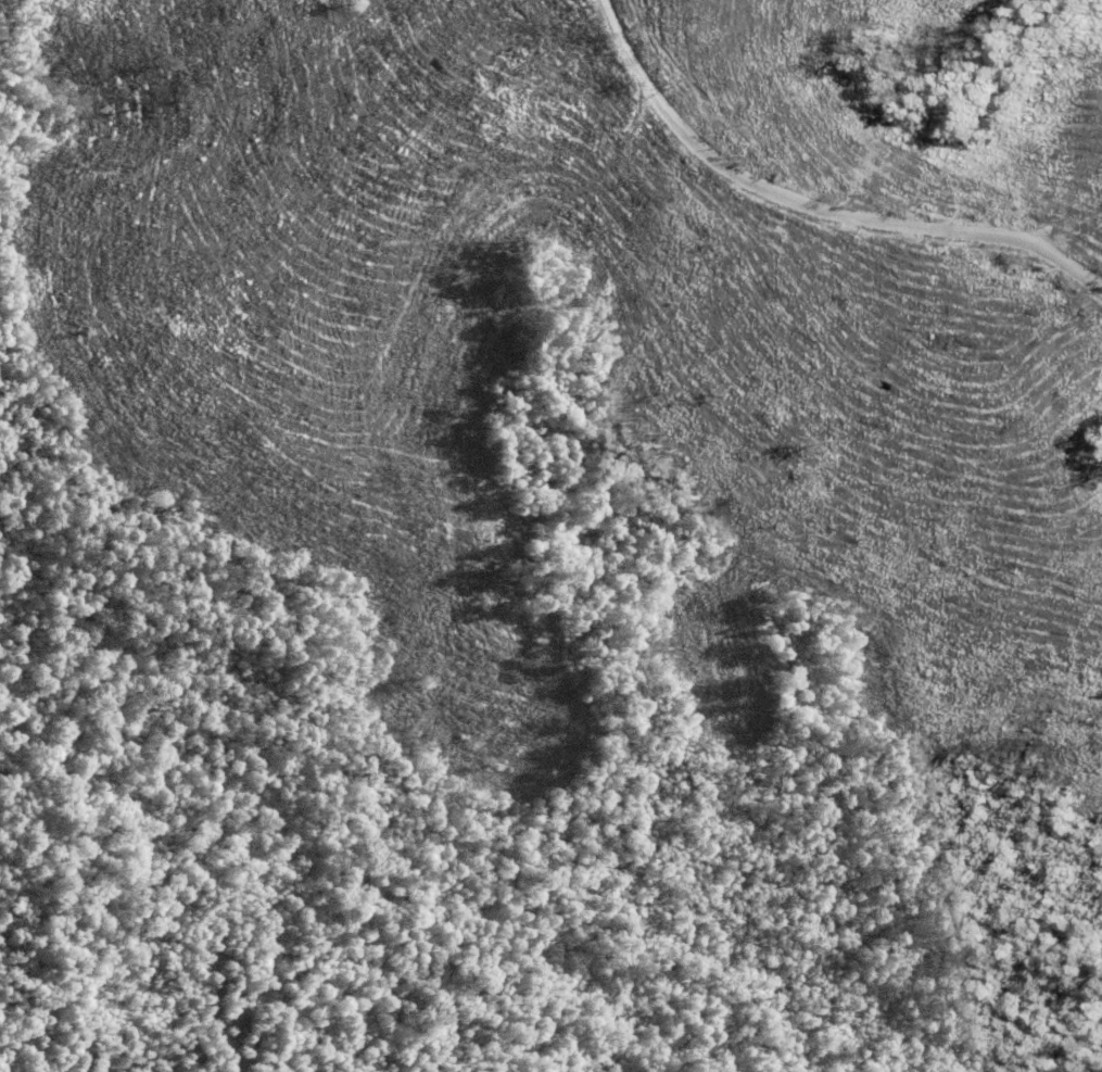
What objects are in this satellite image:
road: (819, 197)

